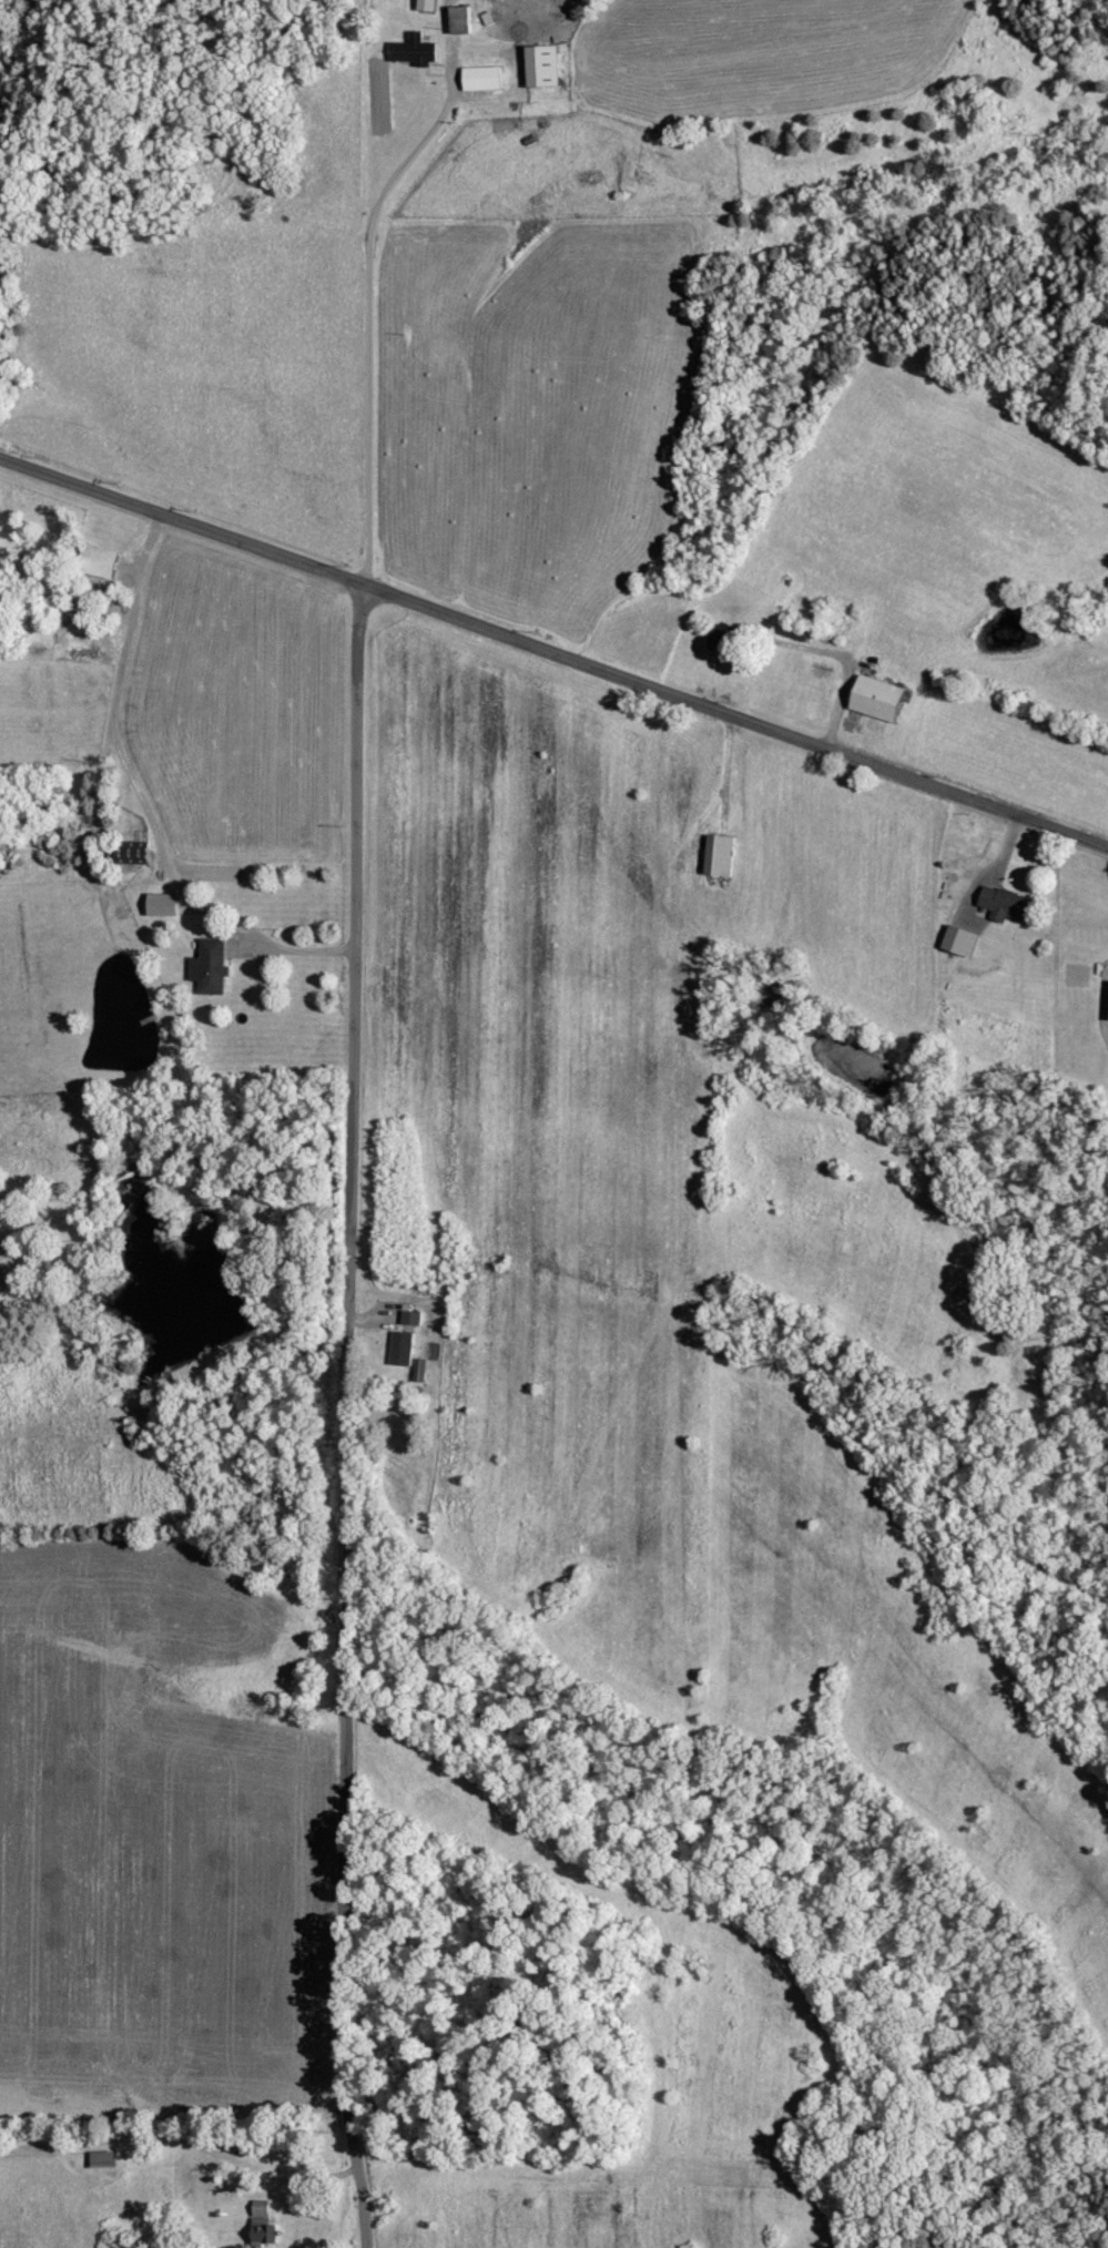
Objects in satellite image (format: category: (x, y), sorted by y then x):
building: (426, 6)
building: (415, 50)
building: (542, 65)
building: (482, 78)
building: (98, 561)
building: (721, 642)
road: (552, 647)
building: (877, 699)
building: (720, 855)
building: (1005, 904)
building: (162, 905)
road: (285, 940)
building: (960, 940)
building: (211, 967)
building: (411, 1319)
building: (401, 1350)
road: (344, 1413)
building: (263, 2224)

